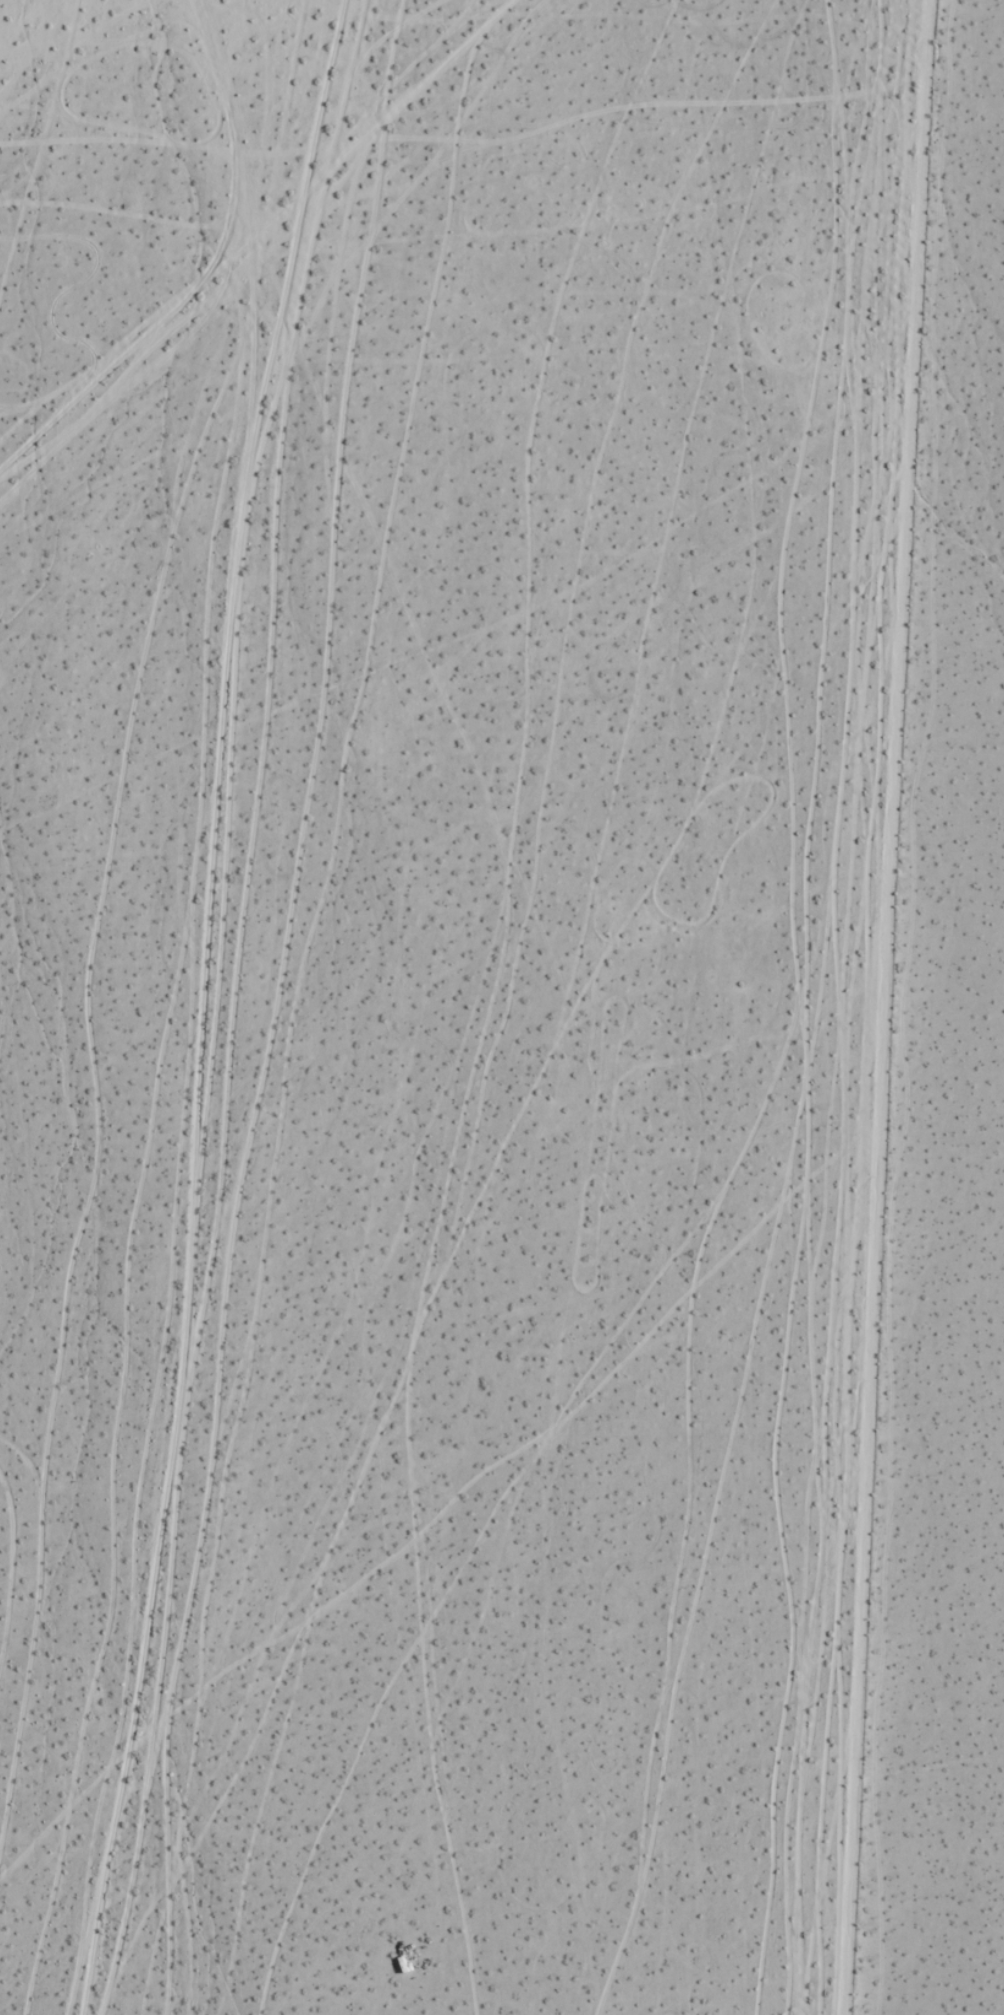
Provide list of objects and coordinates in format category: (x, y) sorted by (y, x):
road: (203, 1005)
road: (890, 1007)

